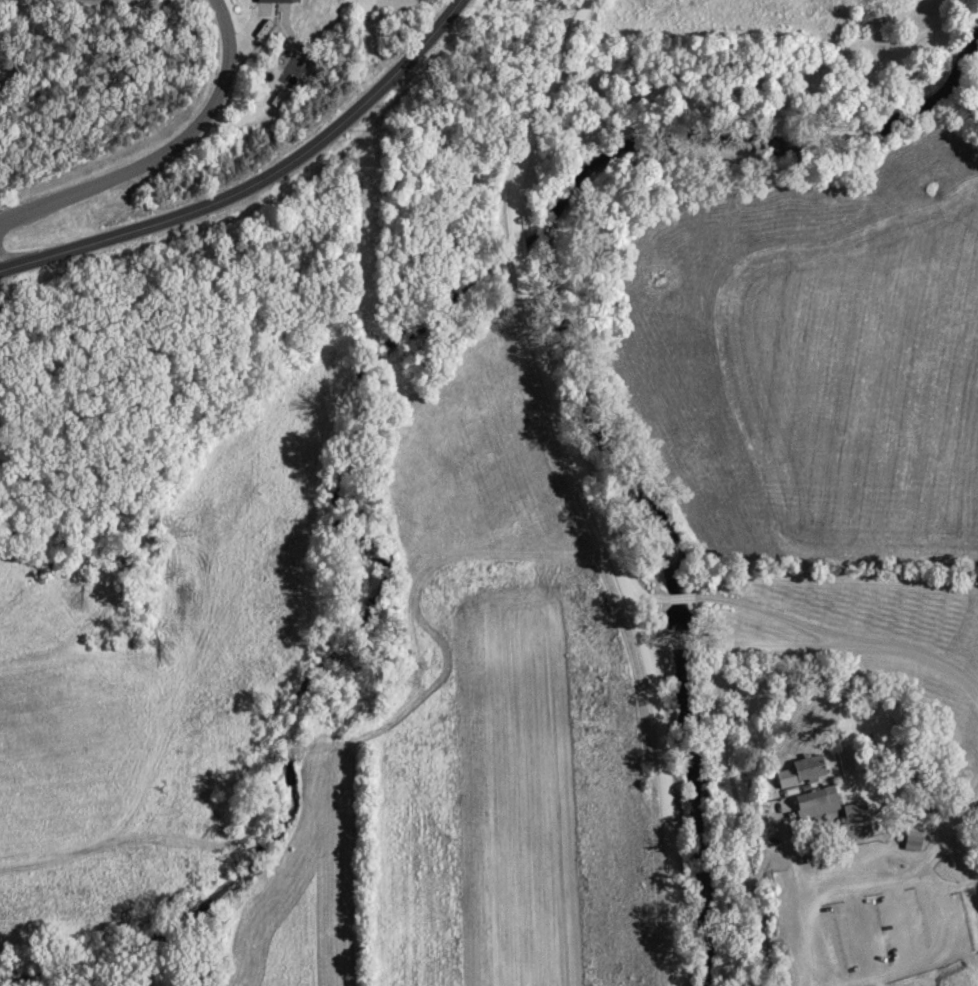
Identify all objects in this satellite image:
building: (273, 2)
road: (771, 115)
road: (164, 153)
road: (256, 178)
road: (594, 485)
road: (812, 628)
road: (763, 646)
building: (801, 773)
building: (816, 804)
building: (856, 831)
road: (867, 892)
road: (803, 945)

